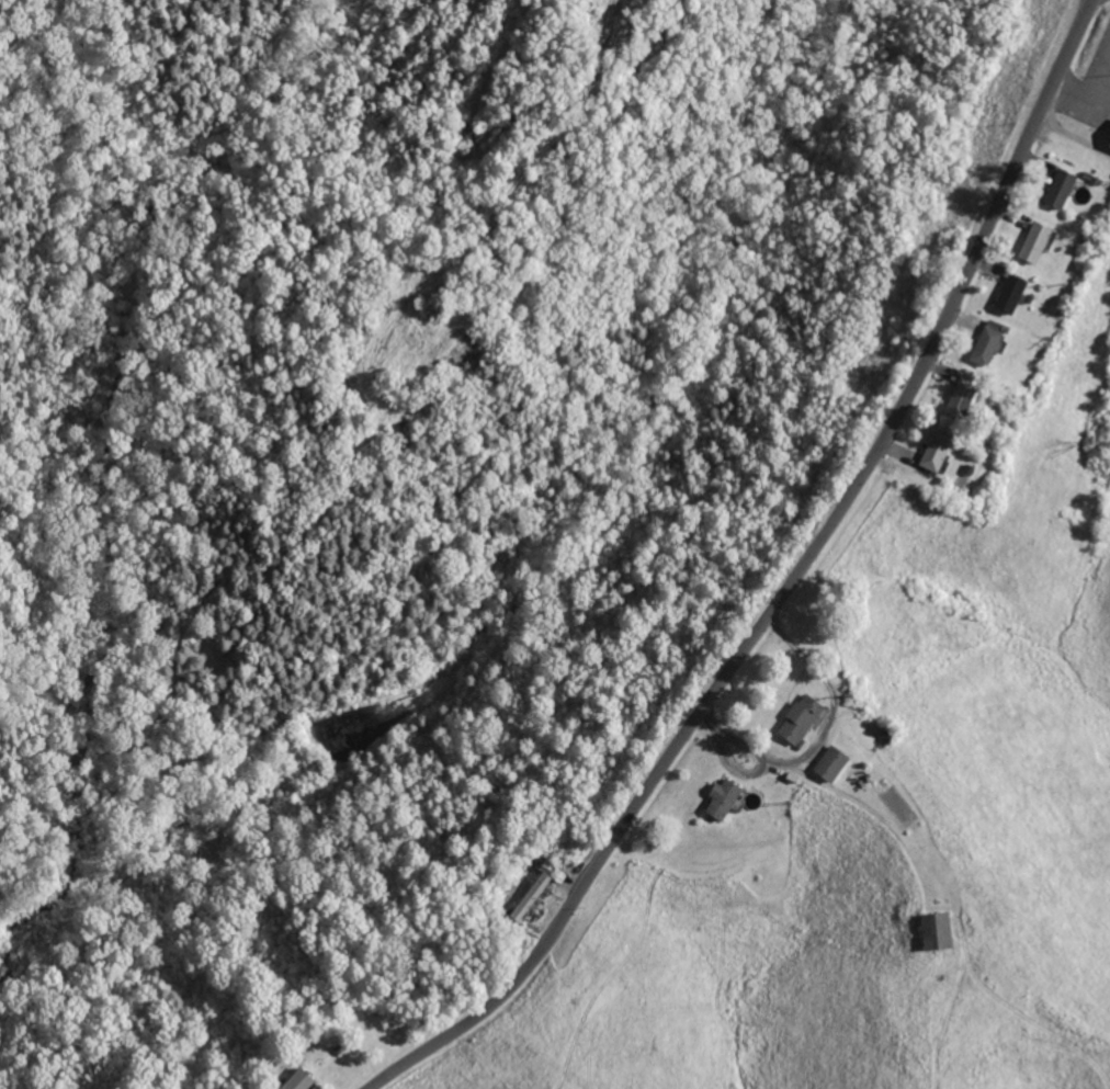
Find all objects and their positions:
road: (437, 87)
building: (1058, 190)
building: (1033, 243)
building: (1009, 295)
building: (985, 344)
building: (959, 398)
building: (933, 453)
road: (772, 587)
building: (797, 719)
building: (829, 763)
building: (721, 798)
road: (785, 829)
building: (528, 896)
building: (935, 930)
building: (296, 1080)

